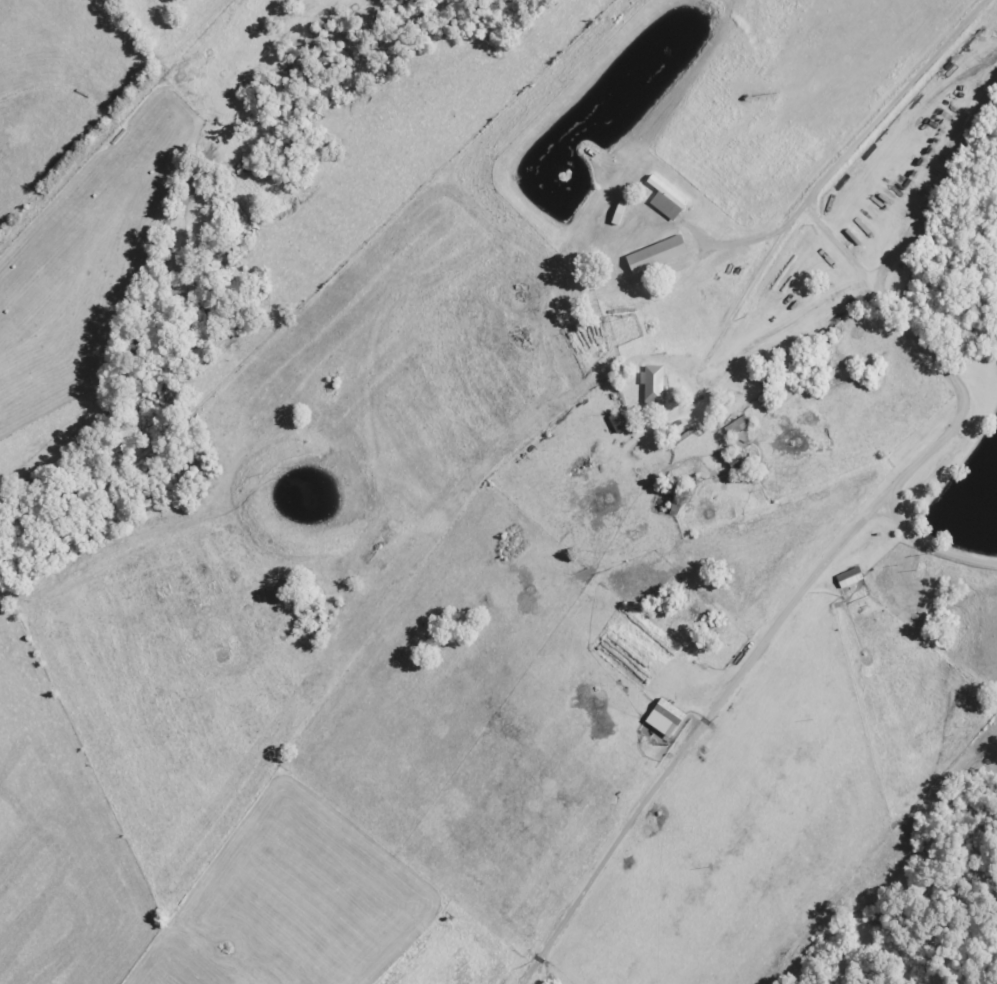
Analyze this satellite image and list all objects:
building: (657, 199)
building: (646, 255)
road: (885, 290)
park: (831, 375)
building: (643, 388)
building: (609, 422)
building: (658, 500)

